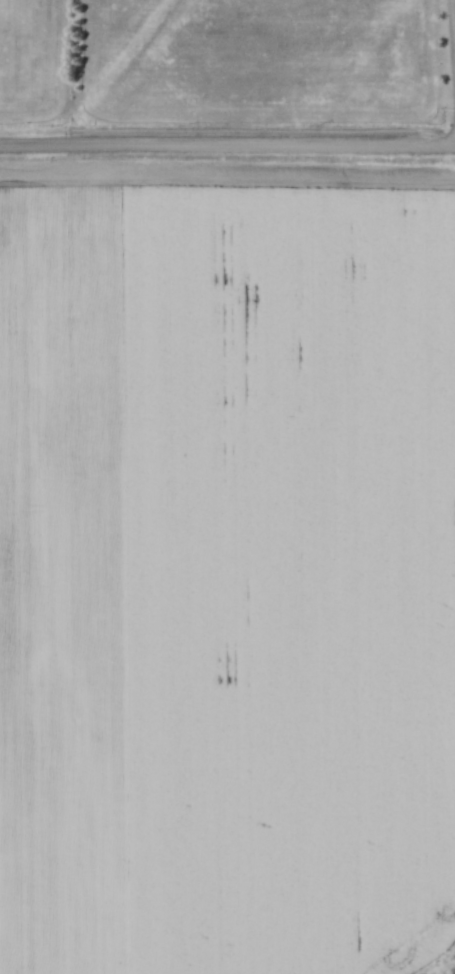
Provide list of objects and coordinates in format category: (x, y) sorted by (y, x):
road: (227, 146)
crop: (226, 581)

